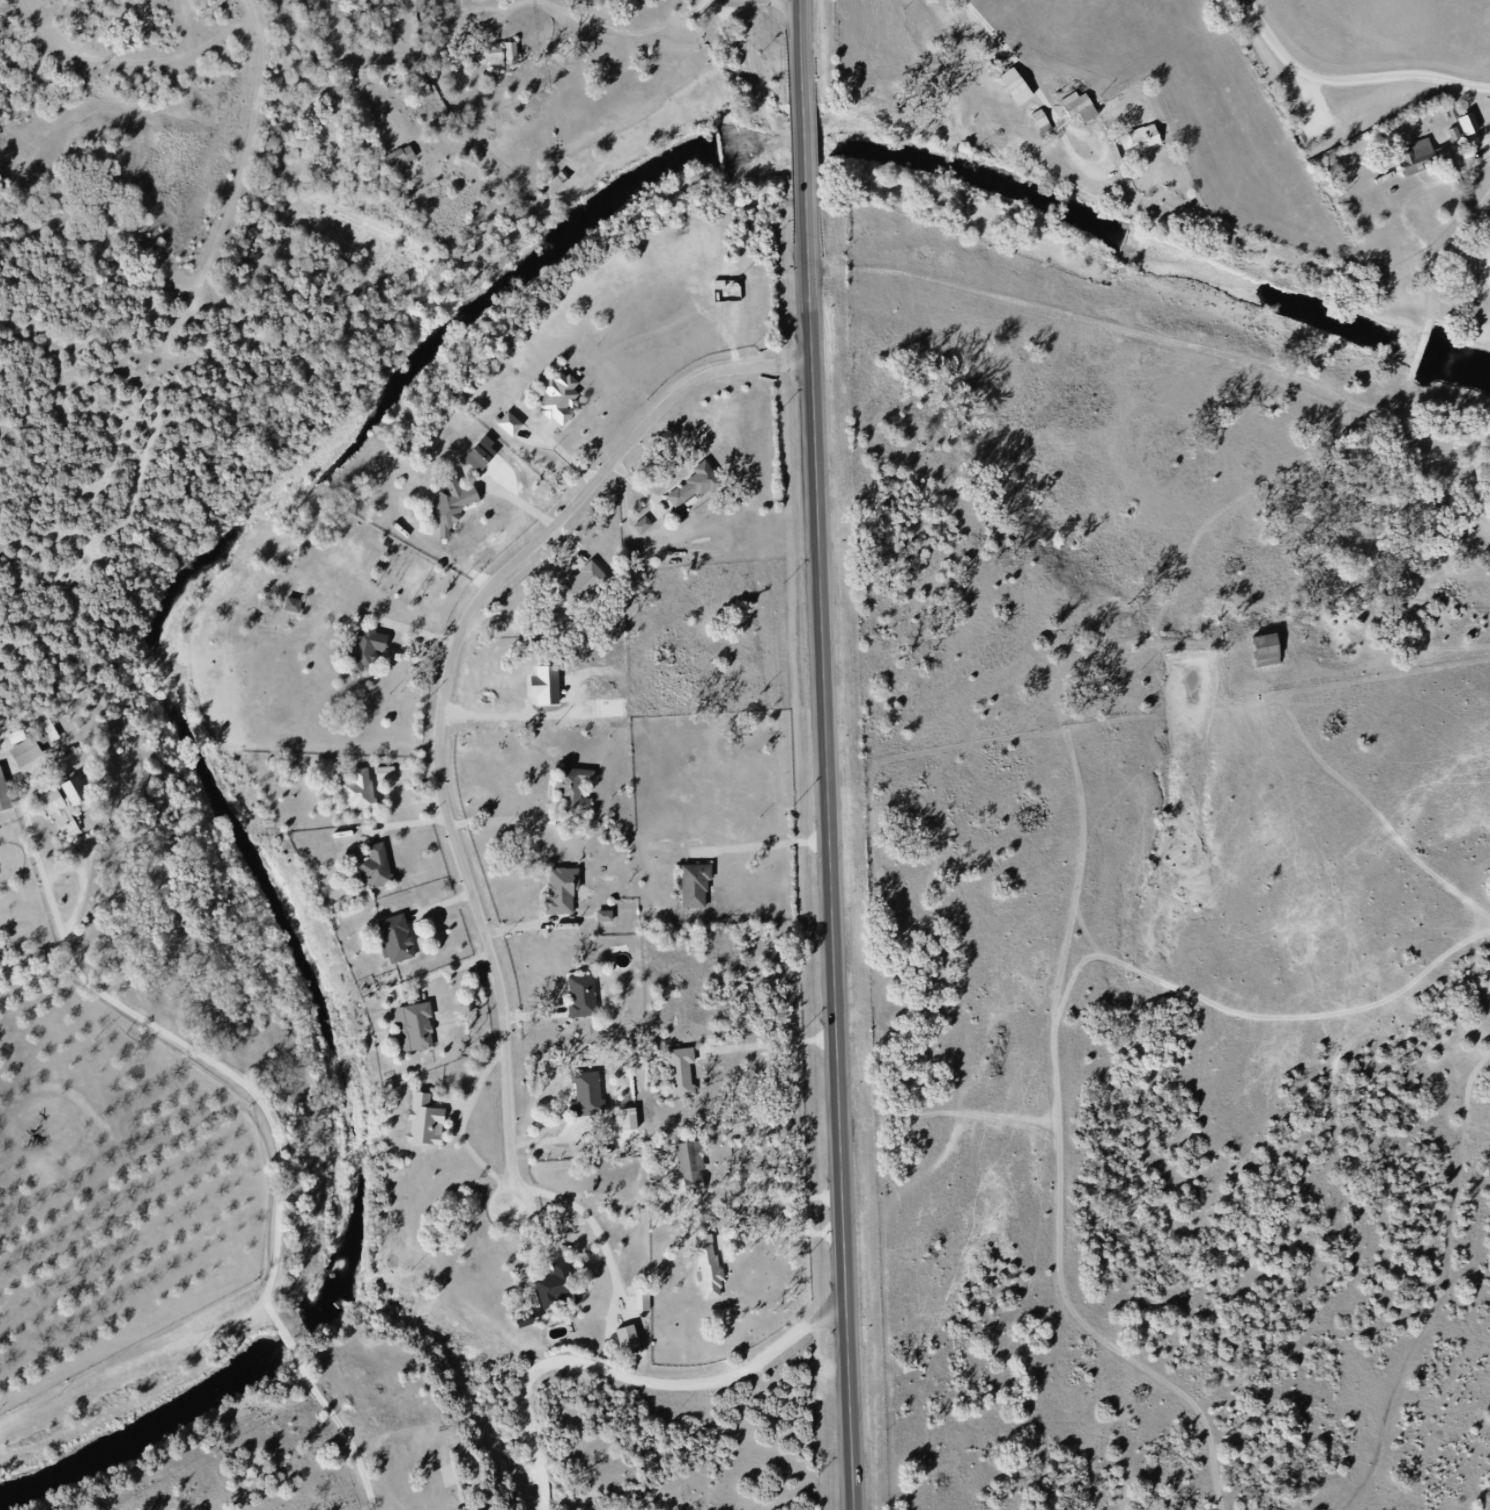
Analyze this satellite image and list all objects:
building: (489, 53)
road: (806, 53)
road: (1020, 60)
road: (1350, 80)
building: (1086, 110)
building: (1047, 124)
building: (1469, 124)
building: (1476, 129)
building: (1150, 143)
road: (807, 156)
building: (400, 159)
road: (1109, 159)
building: (1427, 162)
road: (1439, 255)
road: (1121, 328)
road: (1418, 355)
building: (566, 401)
building: (517, 427)
building: (702, 488)
building: (460, 507)
building: (596, 585)
building: (293, 605)
building: (375, 649)
building: (1270, 650)
road: (449, 677)
building: (26, 748)
building: (392, 775)
building: (4, 792)
building: (582, 792)
building: (366, 793)
building: (66, 805)
road: (767, 845)
road: (833, 858)
building: (382, 867)
road: (1083, 868)
building: (701, 888)
building: (568, 893)
building: (611, 918)
building: (401, 939)
building: (587, 997)
building: (425, 1029)
road: (774, 1043)
building: (688, 1071)
building: (593, 1097)
road: (469, 1123)
building: (431, 1125)
building: (698, 1167)
road: (774, 1199)
road: (501, 1215)
road: (785, 1232)
building: (717, 1273)
building: (562, 1287)
building: (633, 1339)
road: (632, 1370)

